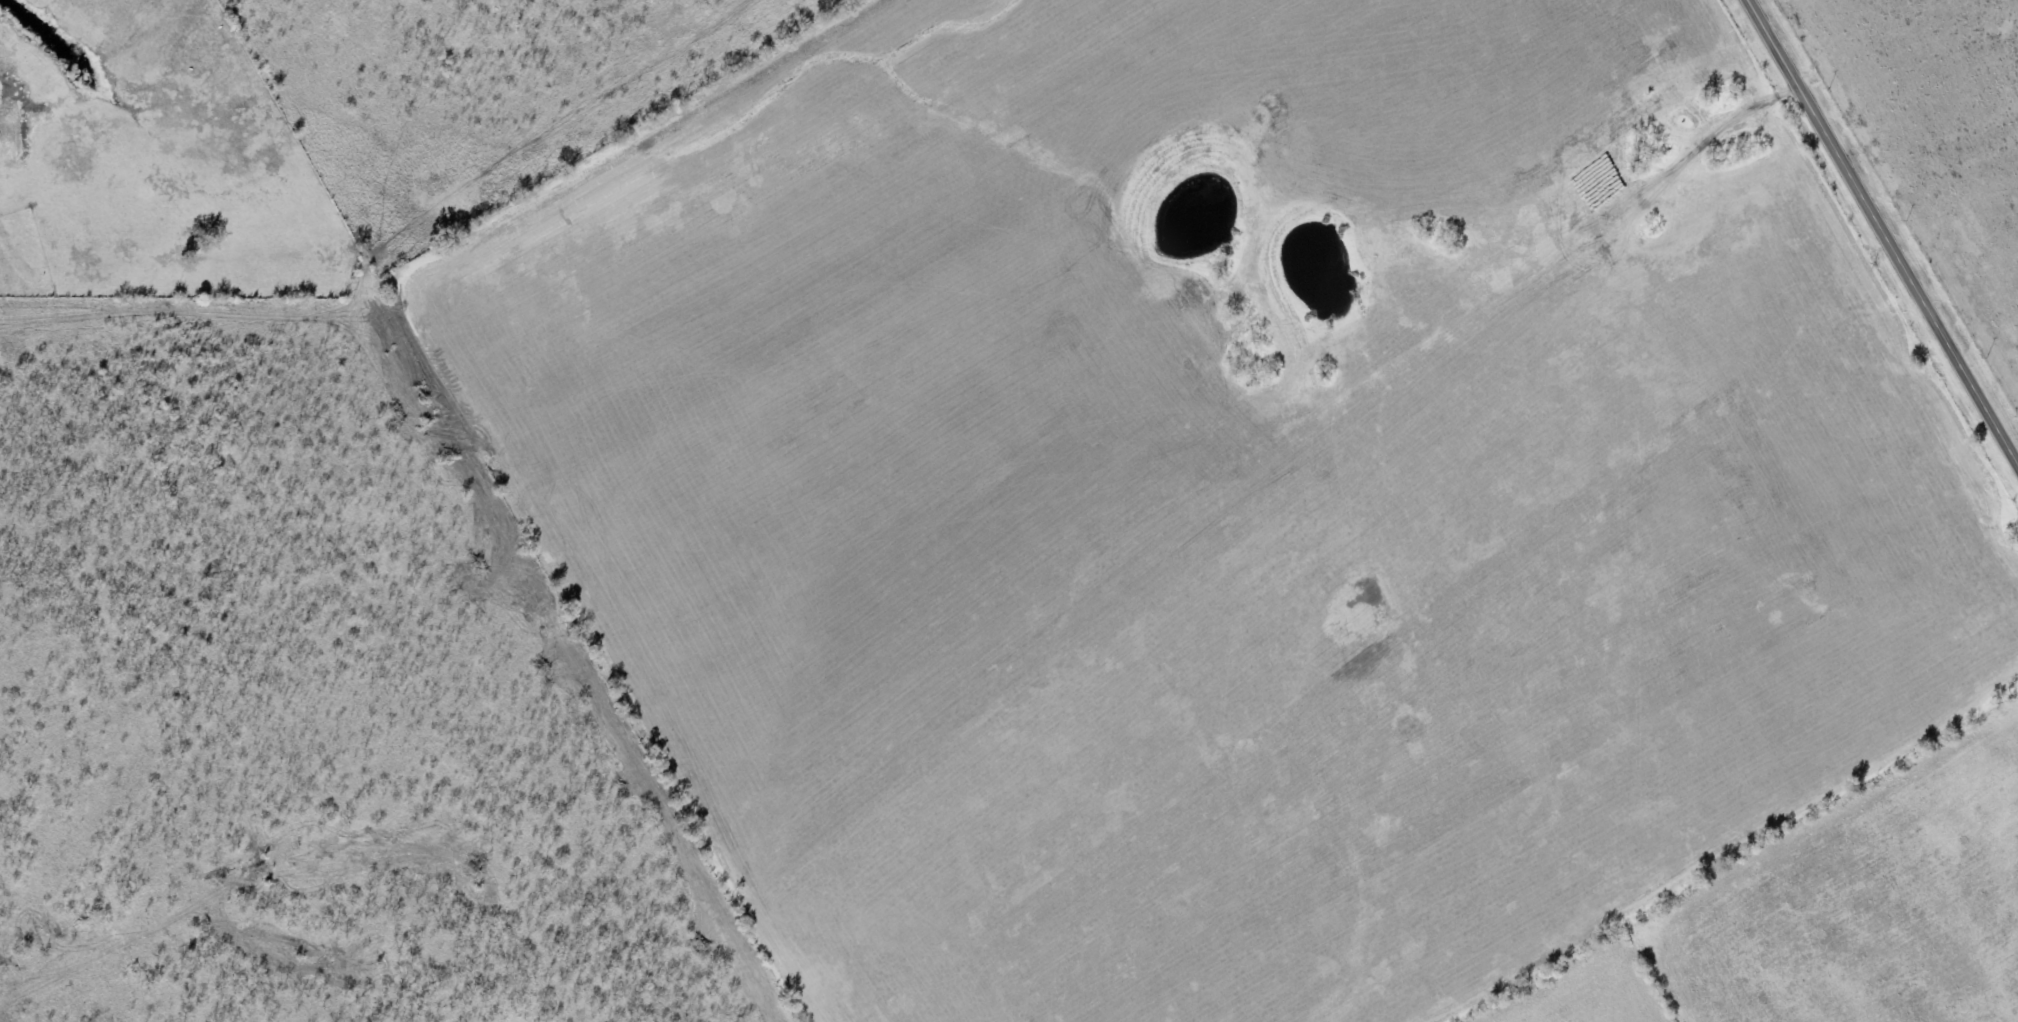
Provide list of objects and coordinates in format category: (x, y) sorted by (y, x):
road: (1884, 225)

